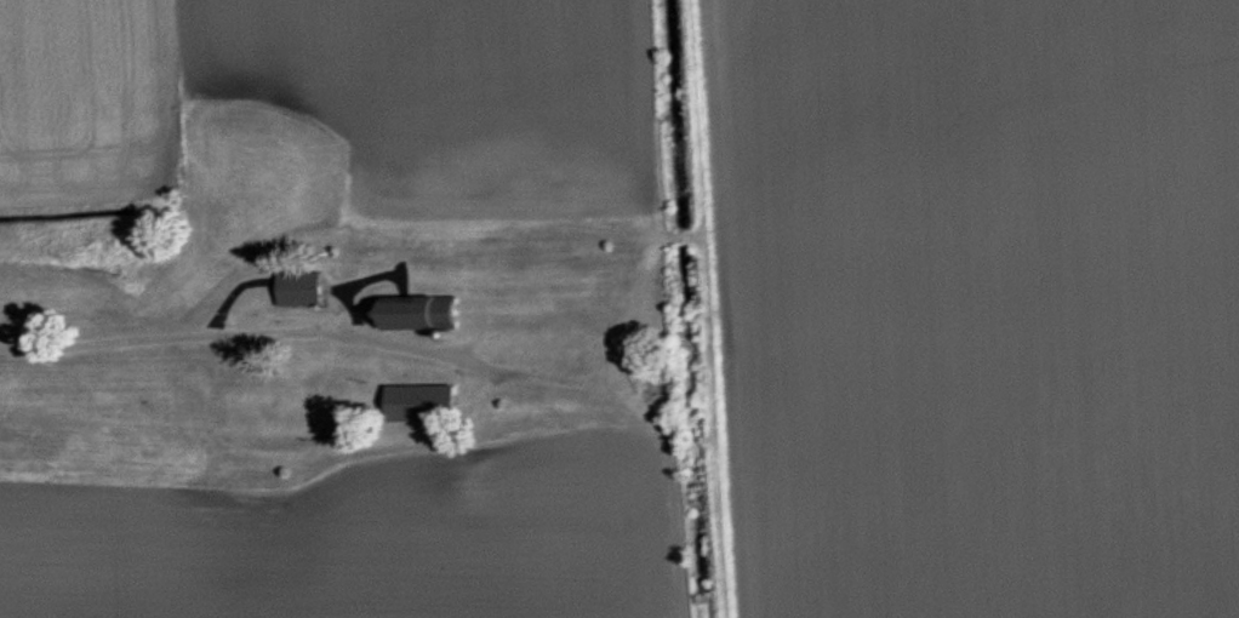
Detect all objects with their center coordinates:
building: (309, 290)
building: (435, 314)
road: (159, 334)
building: (432, 404)

